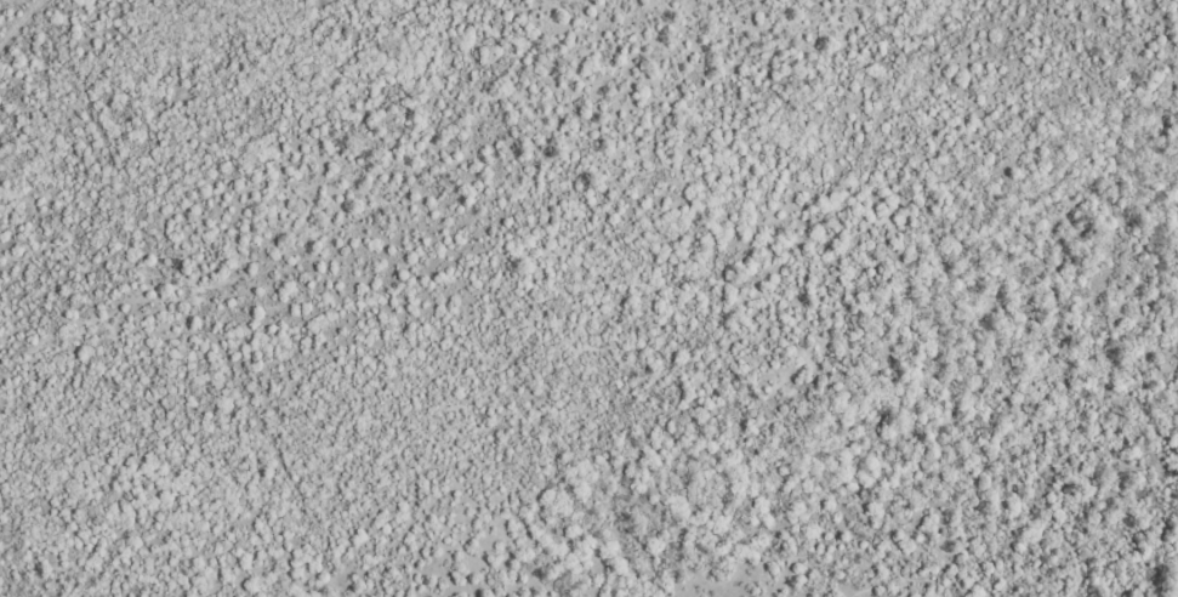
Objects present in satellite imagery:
road: (104, 24)

